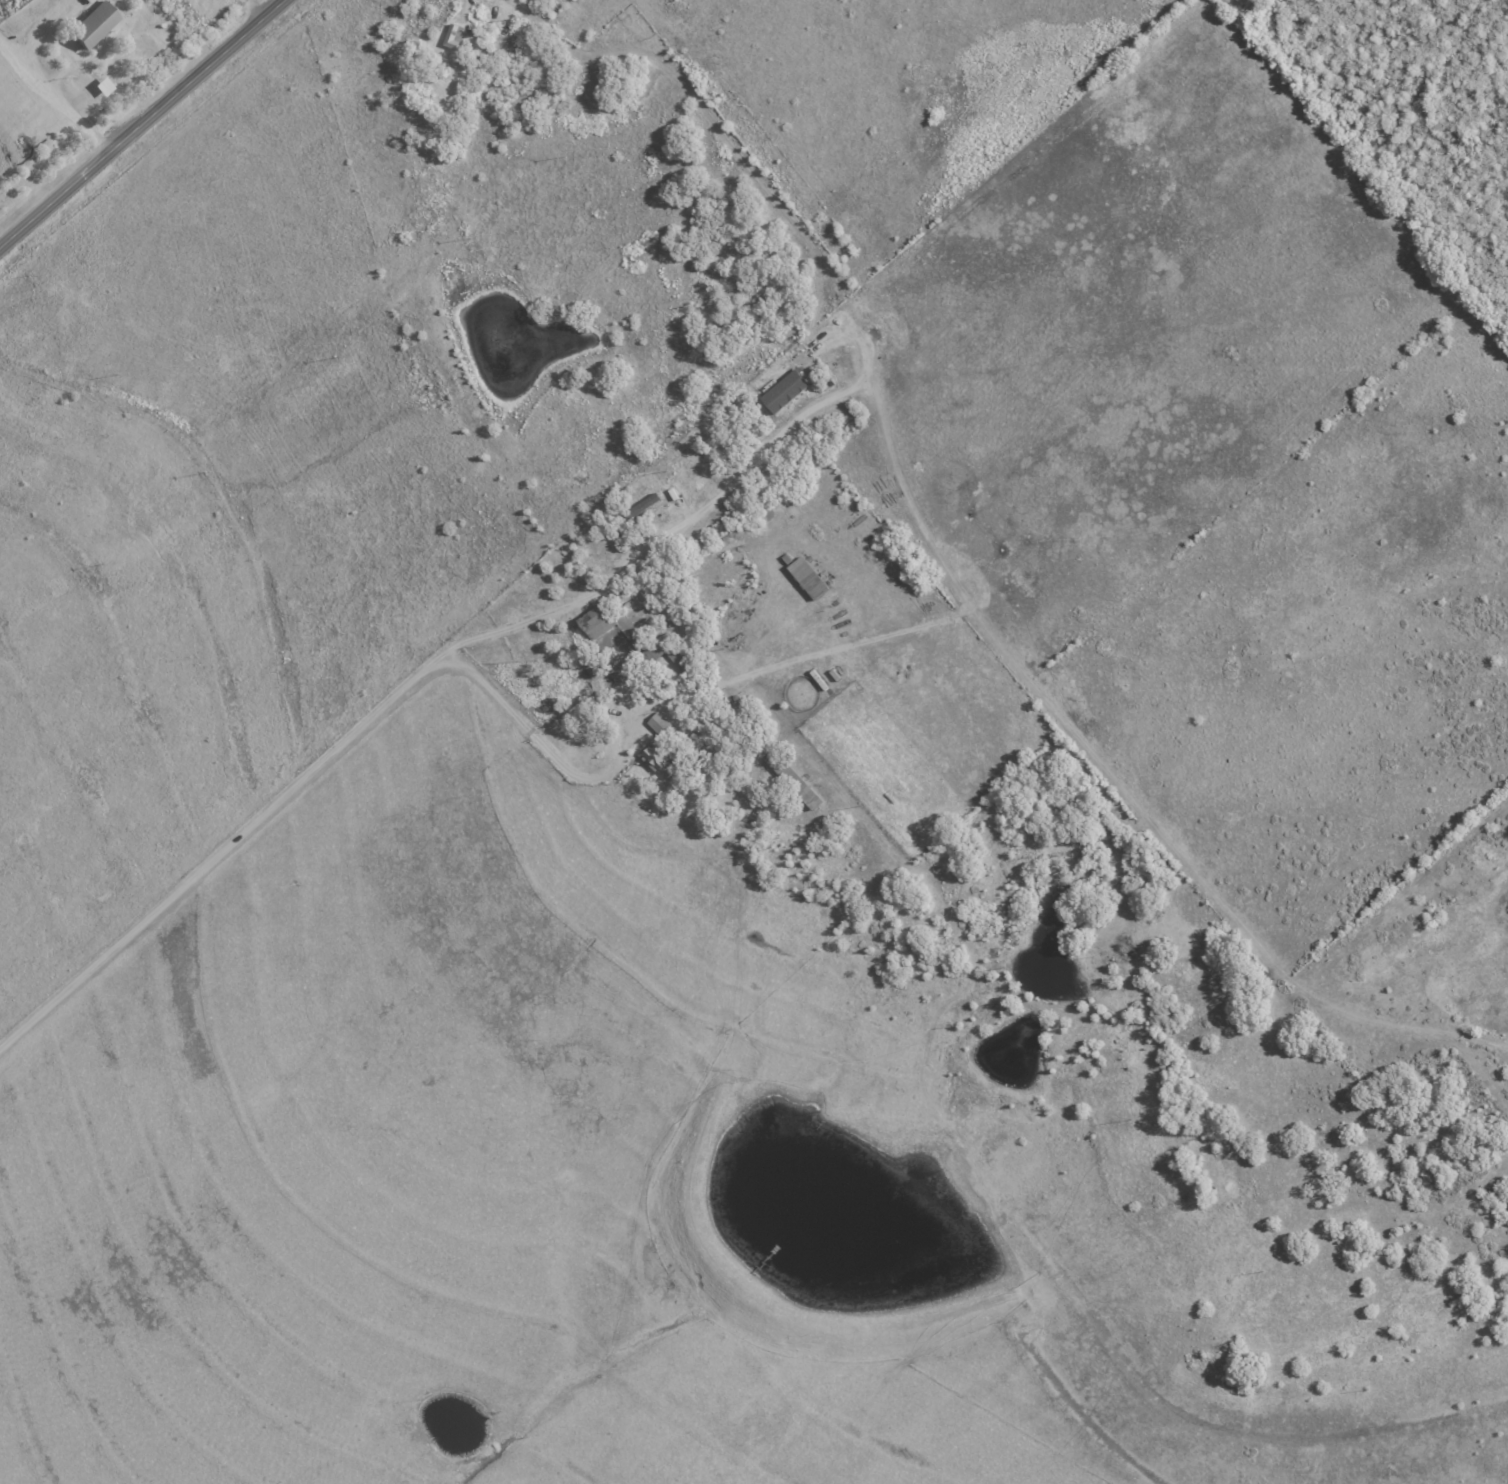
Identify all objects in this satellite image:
road: (258, 8)
building: (91, 24)
building: (451, 35)
building: (101, 86)
road: (688, 88)
road: (54, 90)
road: (143, 124)
building: (782, 390)
road: (683, 520)
building: (805, 576)
building: (605, 633)
building: (657, 722)
building: (656, 760)
road: (316, 762)
building: (800, 788)

